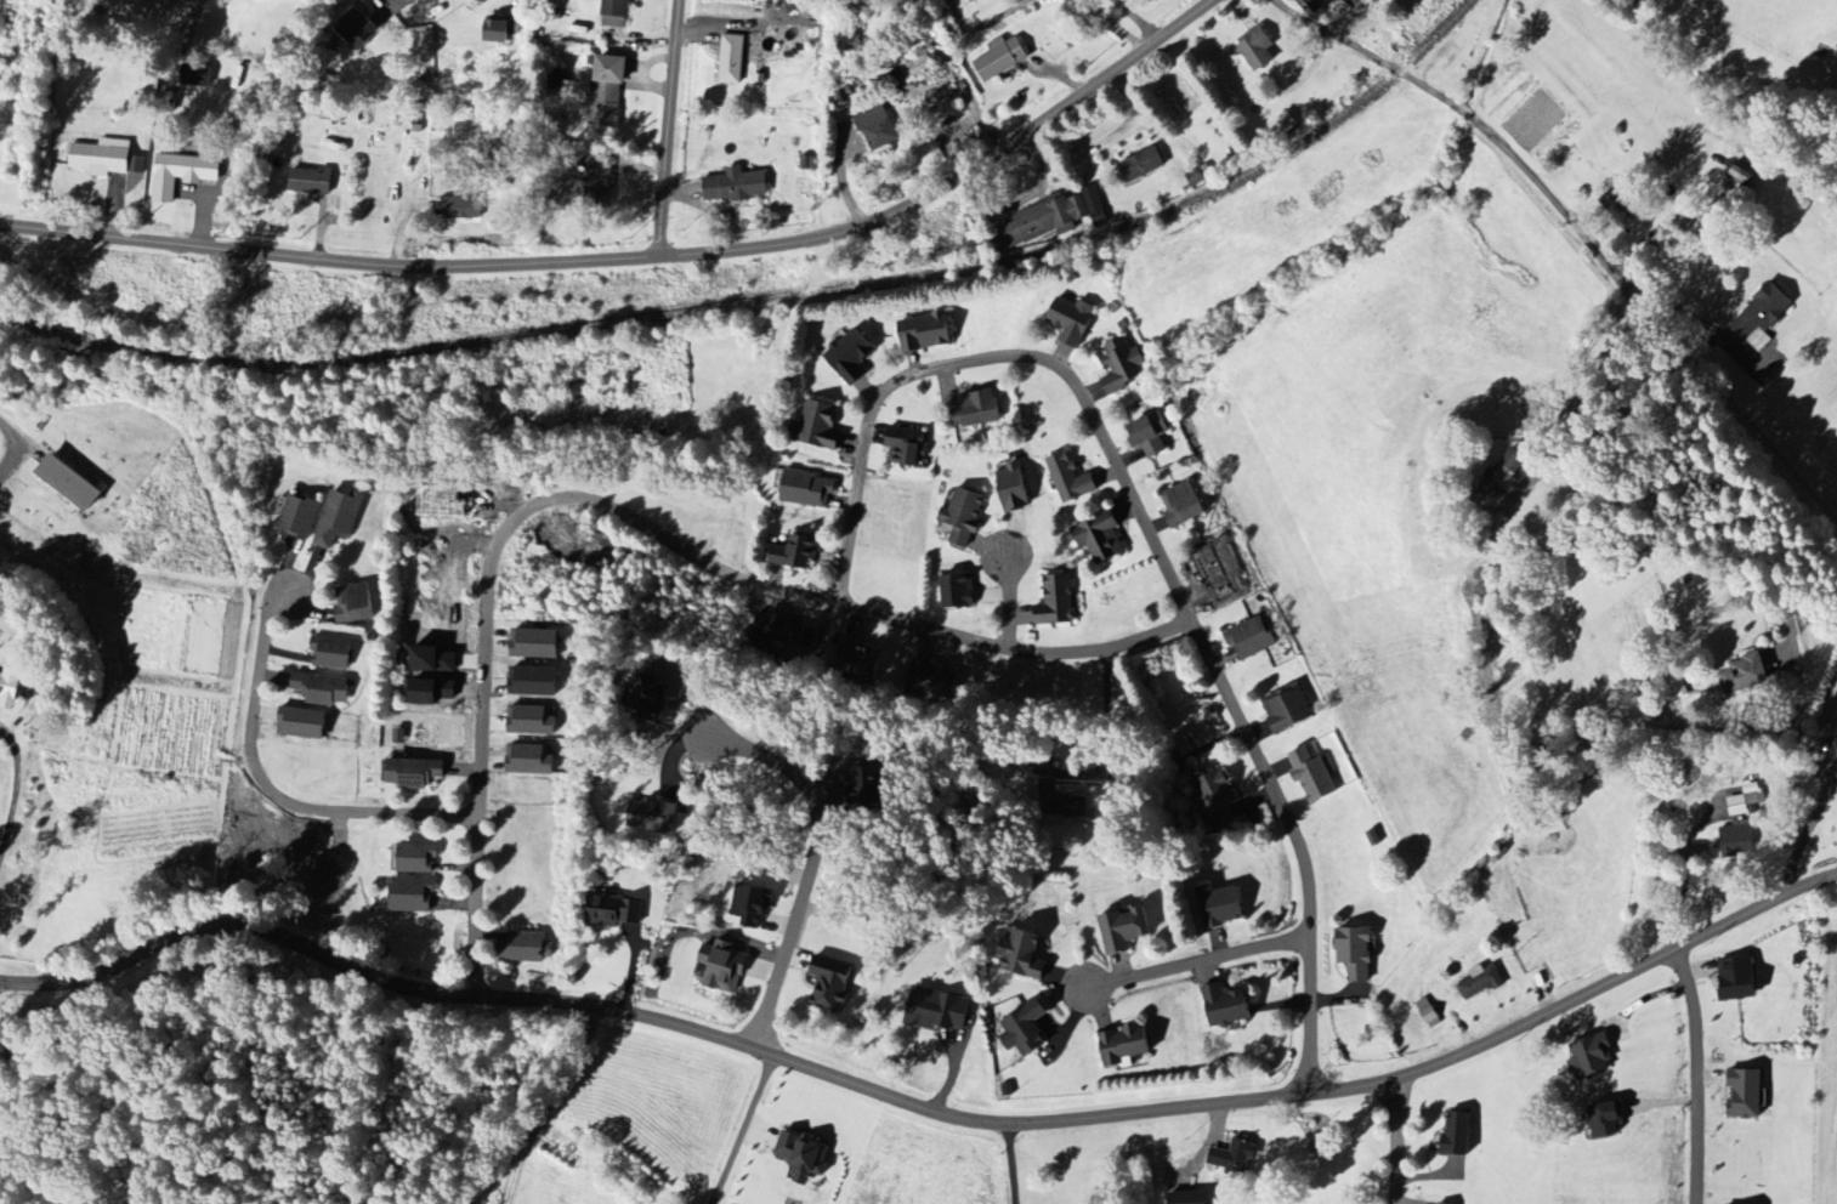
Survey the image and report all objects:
building: (138, 0)
road: (387, 1)
building: (1317, 4)
building: (616, 13)
road: (1116, 22)
building: (362, 23)
road: (985, 23)
building: (500, 29)
building: (1257, 47)
road: (1366, 50)
building: (1000, 57)
building: (731, 58)
building: (920, 64)
building: (197, 72)
building: (608, 89)
road: (1465, 109)
building: (1283, 125)
building: (877, 127)
road: (662, 130)
building: (100, 159)
building: (1143, 164)
building: (181, 174)
building: (597, 177)
building: (1196, 177)
building: (1741, 178)
building: (311, 180)
building: (136, 181)
building: (736, 186)
building: (1095, 206)
building: (461, 208)
building: (1041, 221)
road: (640, 261)
railway: (767, 301)
building: (1072, 320)
building: (925, 333)
road: (1665, 337)
building: (851, 357)
building: (1122, 365)
building: (977, 409)
building: (820, 425)
building: (1151, 430)
road: (15, 444)
building: (905, 445)
building: (1509, 465)
building: (1071, 473)
building: (69, 482)
building: (1013, 488)
building: (807, 489)
building: (1184, 500)
road: (617, 510)
building: (964, 515)
building: (299, 518)
building: (339, 518)
road: (1147, 527)
building: (1101, 532)
building: (794, 552)
building: (957, 591)
road: (1009, 596)
building: (1056, 601)
building: (353, 603)
building: (792, 634)
building: (1252, 634)
building: (534, 643)
building: (331, 653)
building: (857, 658)
building: (1746, 670)
building: (931, 678)
building: (533, 681)
building: (8, 688)
building: (322, 689)
building: (648, 700)
building: (1289, 704)
building: (529, 721)
building: (301, 723)
road: (1107, 736)
building: (1836, 748)
building: (529, 759)
building: (414, 773)
building: (1312, 776)
building: (868, 785)
road: (15, 790)
road: (270, 790)
building: (1214, 799)
building: (1746, 800)
building: (654, 814)
road: (1809, 830)
building: (1739, 834)
building: (414, 858)
road: (812, 862)
building: (413, 895)
building: (752, 904)
building: (1221, 907)
building: (613, 911)
building: (1123, 928)
building: (528, 947)
building: (1355, 953)
building: (1022, 955)
road: (1189, 965)
building: (724, 966)
building: (1737, 979)
building: (1480, 982)
building: (832, 984)
building: (1226, 1006)
building: (939, 1011)
building: (1429, 1013)
building: (1027, 1030)
building: (1124, 1045)
building: (1591, 1057)
road: (1697, 1070)
building: (1745, 1094)
road: (550, 1100)
road: (920, 1106)
building: (1605, 1120)
road: (742, 1129)
building: (1458, 1134)
road: (1399, 1141)
building: (804, 1157)
building: (1235, 1158)
road: (1011, 1163)
building: (1189, 1198)
building: (1438, 1203)

